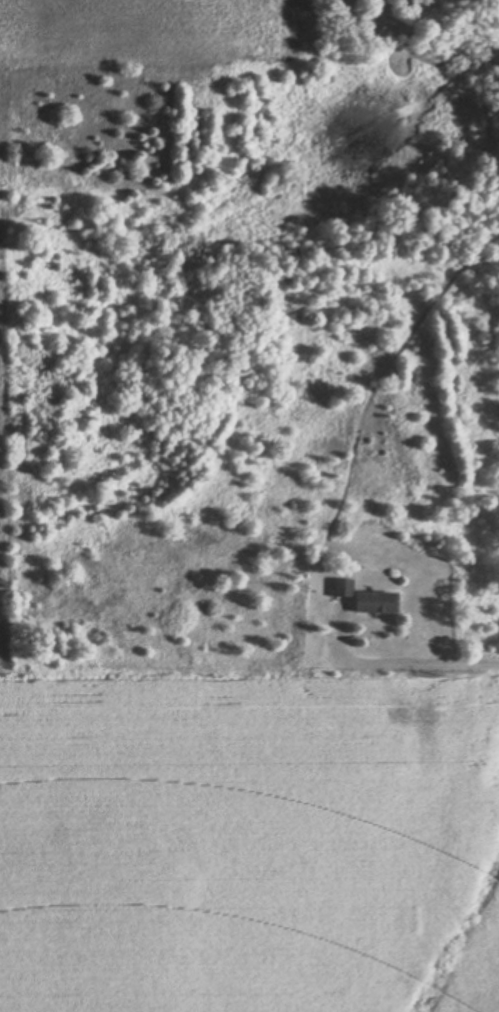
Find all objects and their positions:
building: (342, 586)
building: (376, 601)

